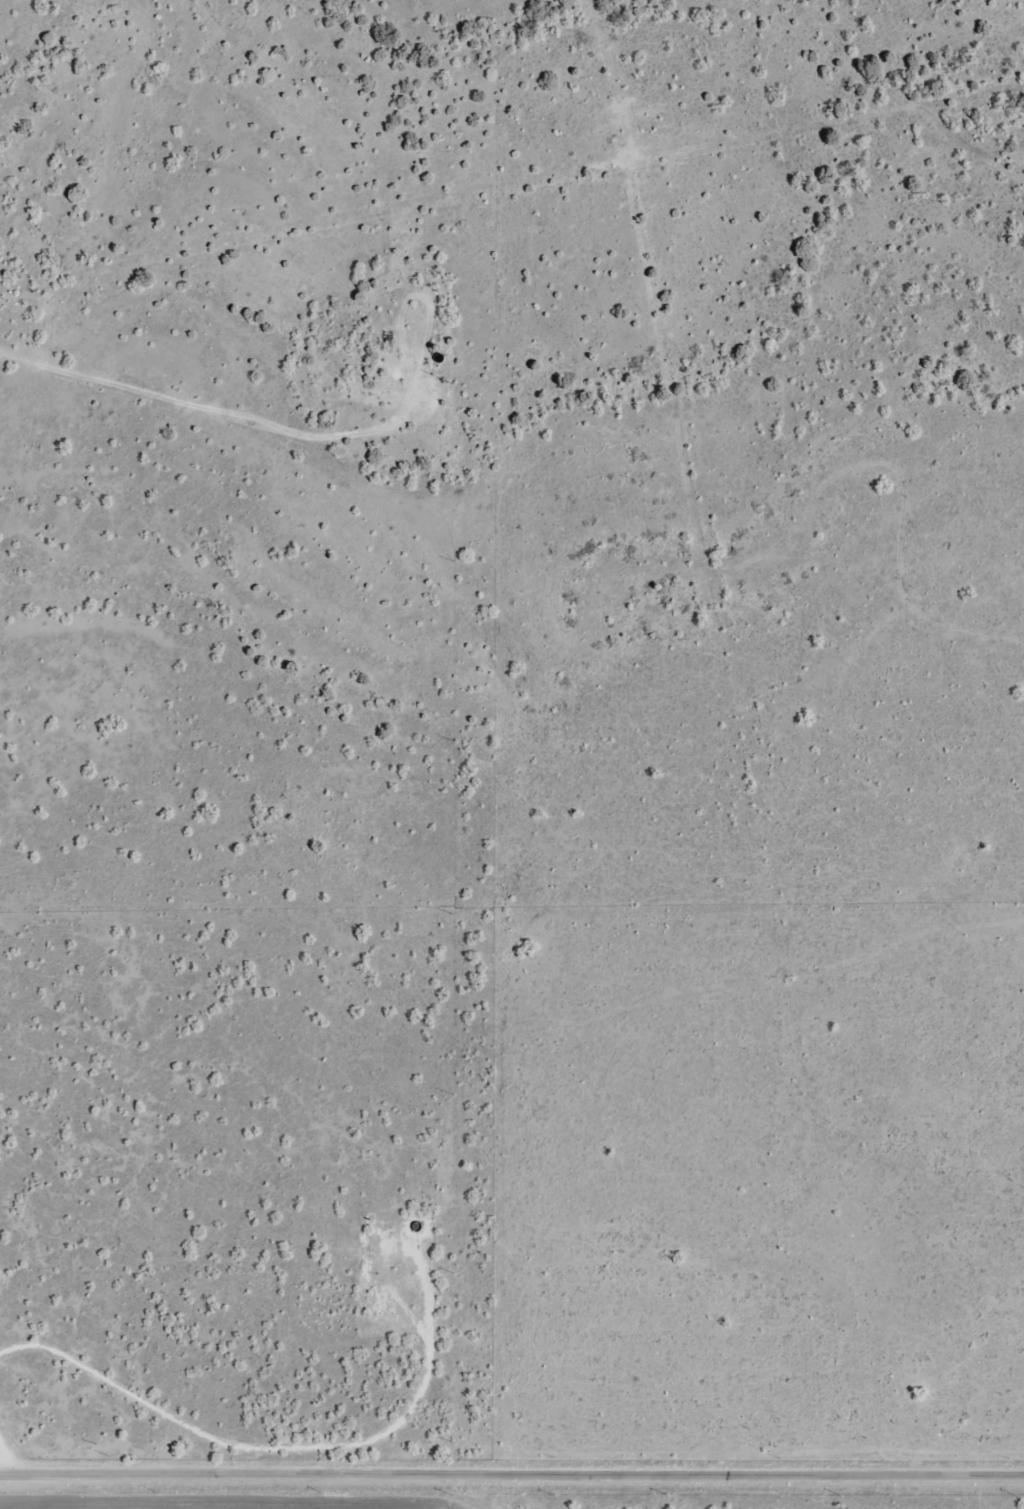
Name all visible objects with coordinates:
road: (15, 304)
road: (512, 1489)
road: (378, 1499)

